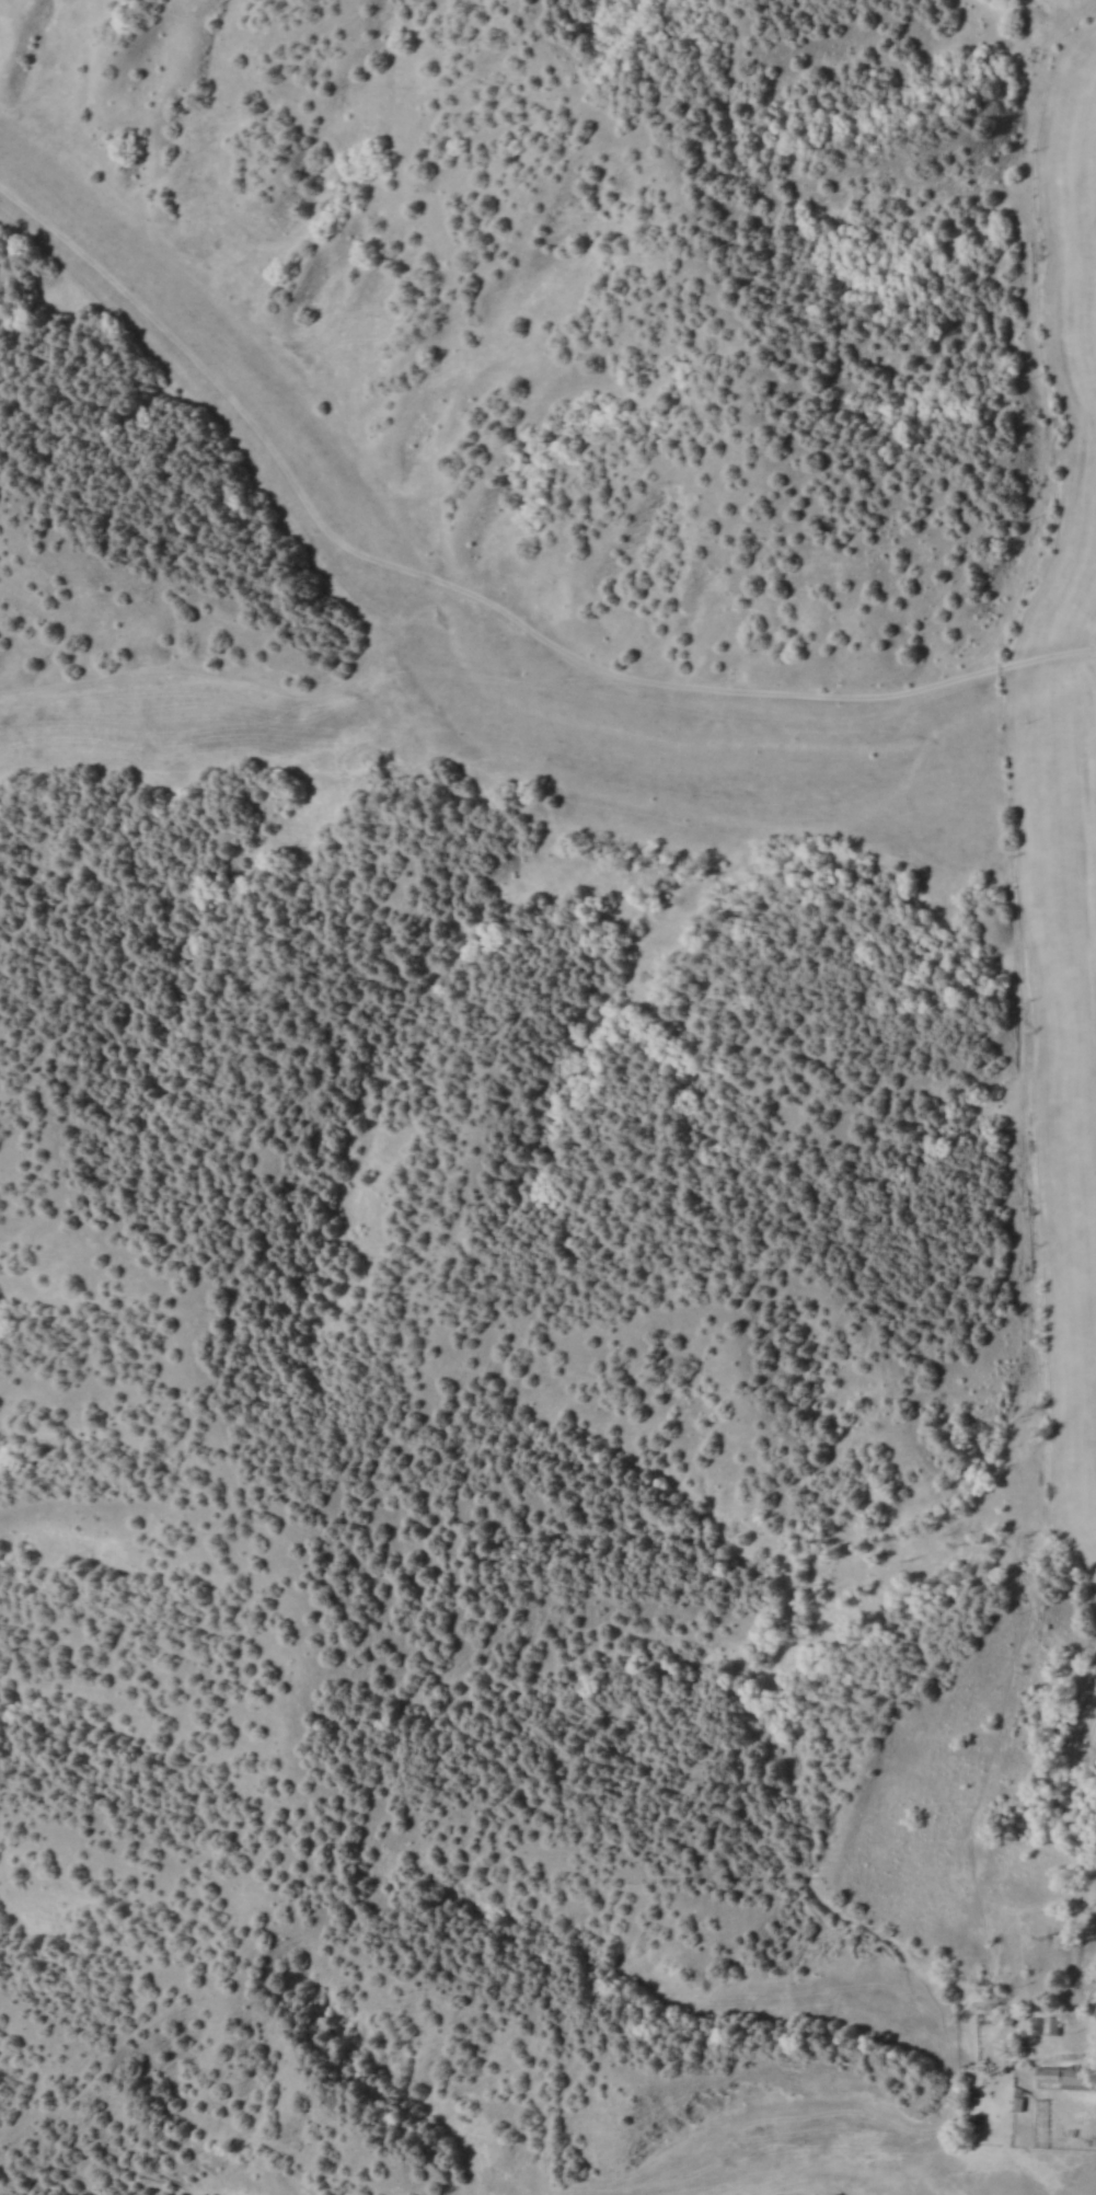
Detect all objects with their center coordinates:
building: (1048, 2024)
road: (1092, 2041)
building: (1062, 2078)
building: (1018, 2098)

